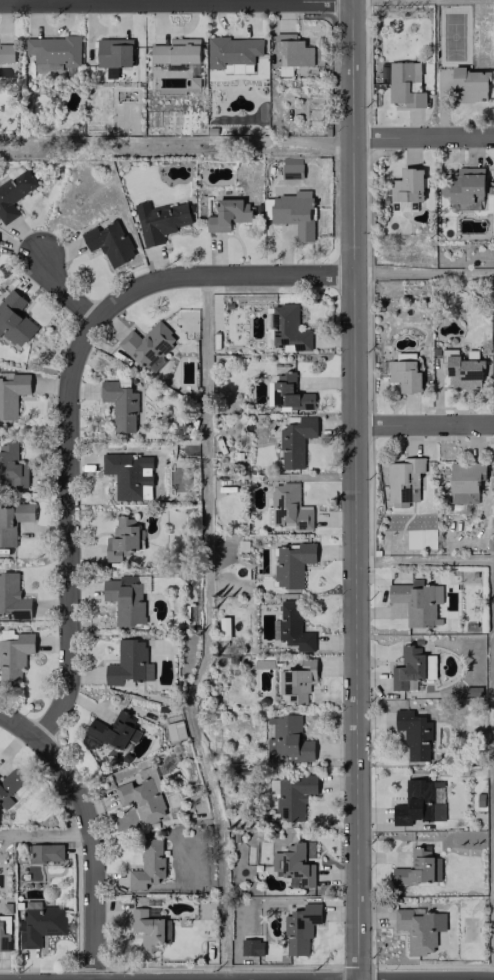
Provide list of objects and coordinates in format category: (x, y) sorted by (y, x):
road: (176, 0)
building: (292, 50)
building: (176, 51)
building: (233, 51)
building: (6, 52)
building: (113, 54)
building: (405, 84)
building: (469, 85)
road: (423, 137)
building: (291, 164)
building: (291, 175)
building: (407, 185)
building: (465, 186)
building: (14, 193)
building: (406, 205)
building: (294, 212)
building: (228, 214)
building: (159, 220)
building: (109, 242)
road: (216, 273)
building: (14, 319)
building: (288, 327)
building: (149, 345)
building: (464, 370)
building: (404, 375)
building: (289, 393)
building: (120, 404)
road: (423, 425)
building: (295, 441)
building: (12, 465)
building: (126, 475)
building: (403, 480)
building: (465, 481)
road: (66, 485)
road: (353, 489)
building: (288, 507)
building: (12, 521)
building: (121, 539)
building: (292, 563)
building: (12, 598)
building: (417, 601)
building: (293, 626)
building: (224, 627)
building: (13, 654)
building: (129, 663)
building: (408, 668)
building: (297, 679)
road: (17, 726)
building: (113, 728)
building: (175, 730)
building: (414, 734)
building: (289, 739)
building: (8, 786)
building: (273, 788)
building: (143, 796)
building: (293, 796)
building: (419, 802)
road: (92, 848)
building: (46, 852)
building: (293, 865)
building: (147, 866)
building: (418, 868)
building: (39, 923)
building: (300, 927)
building: (420, 928)
building: (147, 929)
building: (251, 946)

